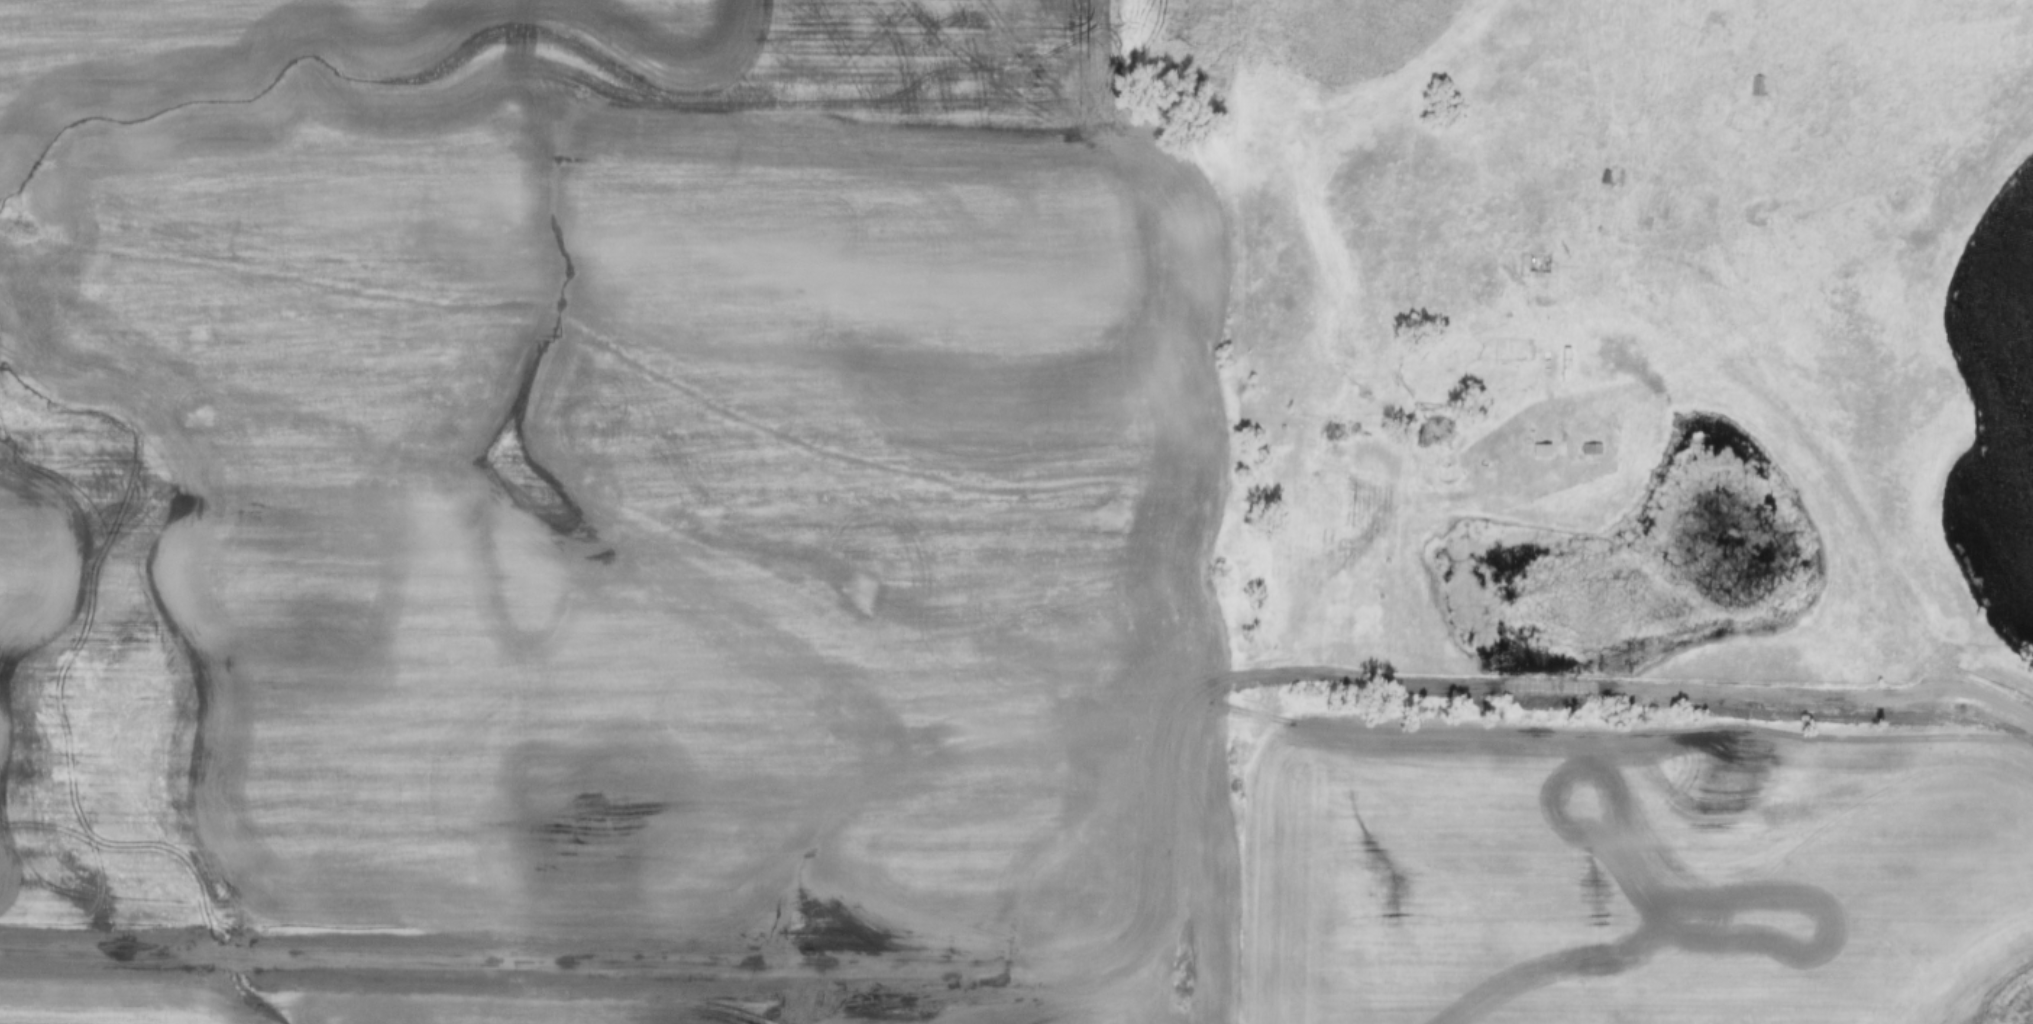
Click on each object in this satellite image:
building: (1759, 86)
road: (1716, 365)
road: (1654, 380)
building: (1591, 449)
building: (1541, 450)
road: (1662, 688)

